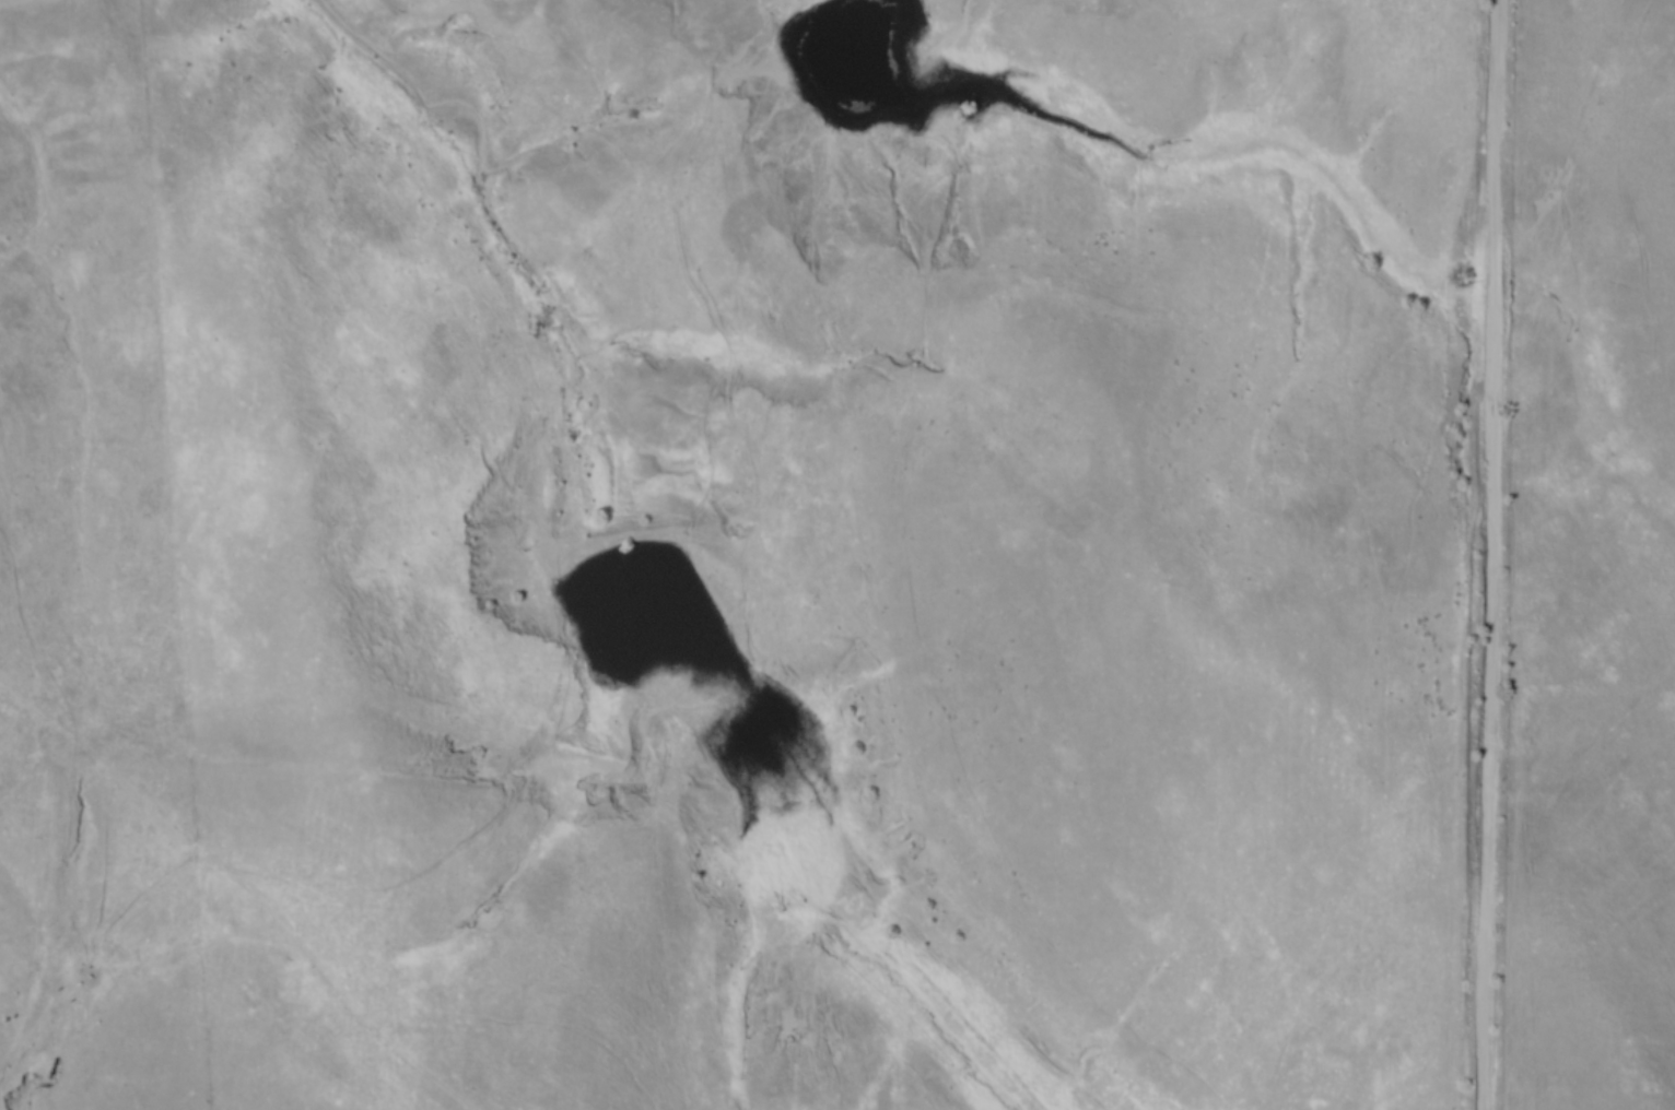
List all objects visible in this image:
road: (1497, 555)

